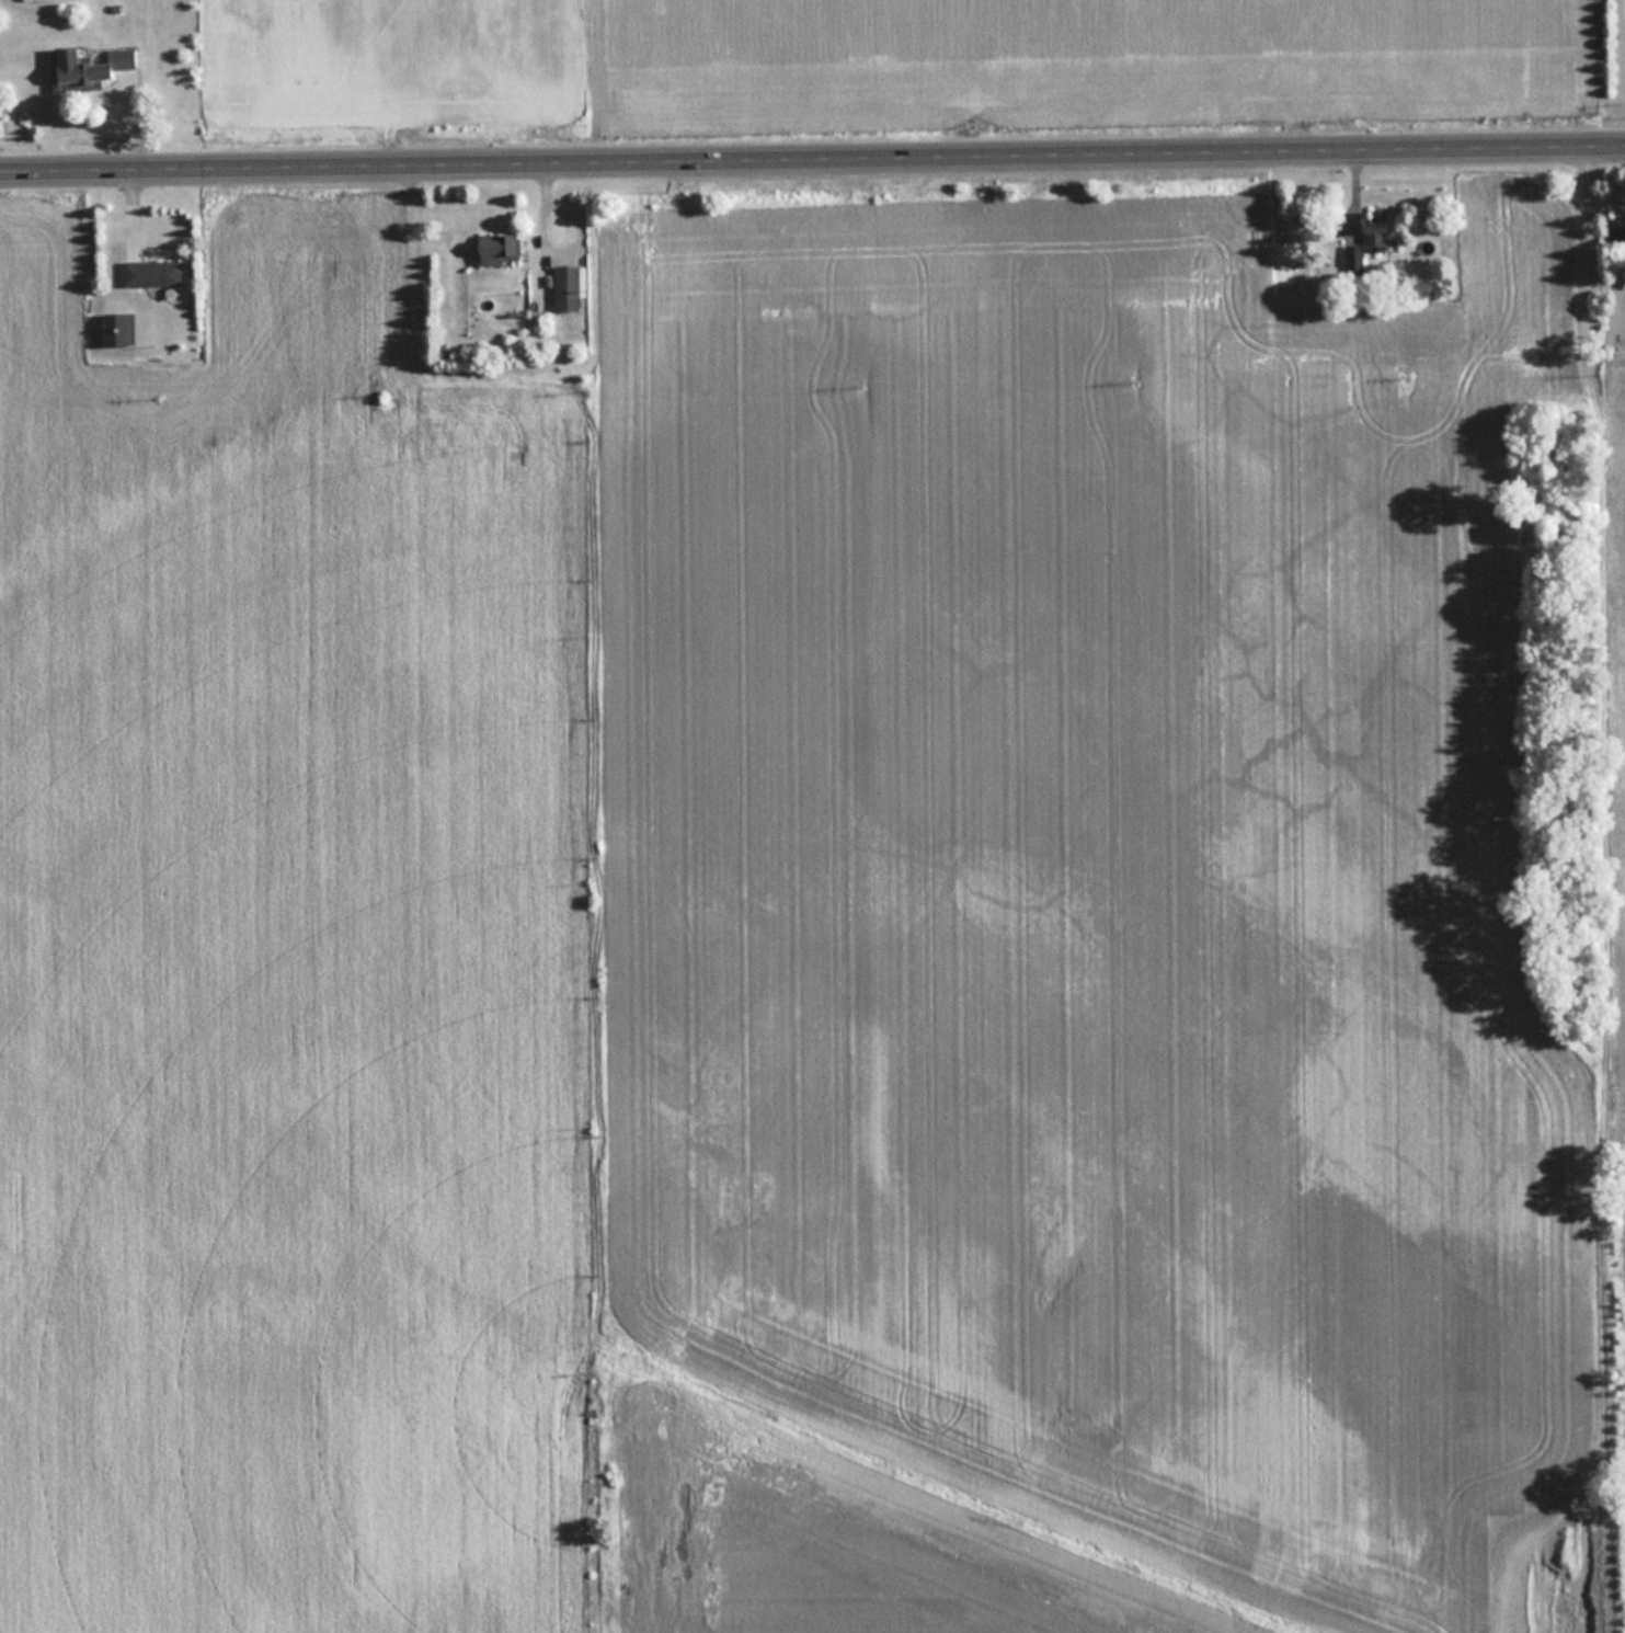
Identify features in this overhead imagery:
building: (88, 65)
road: (812, 151)
building: (1615, 227)
building: (500, 248)
building: (1369, 252)
building: (1293, 254)
building: (151, 273)
building: (567, 287)

